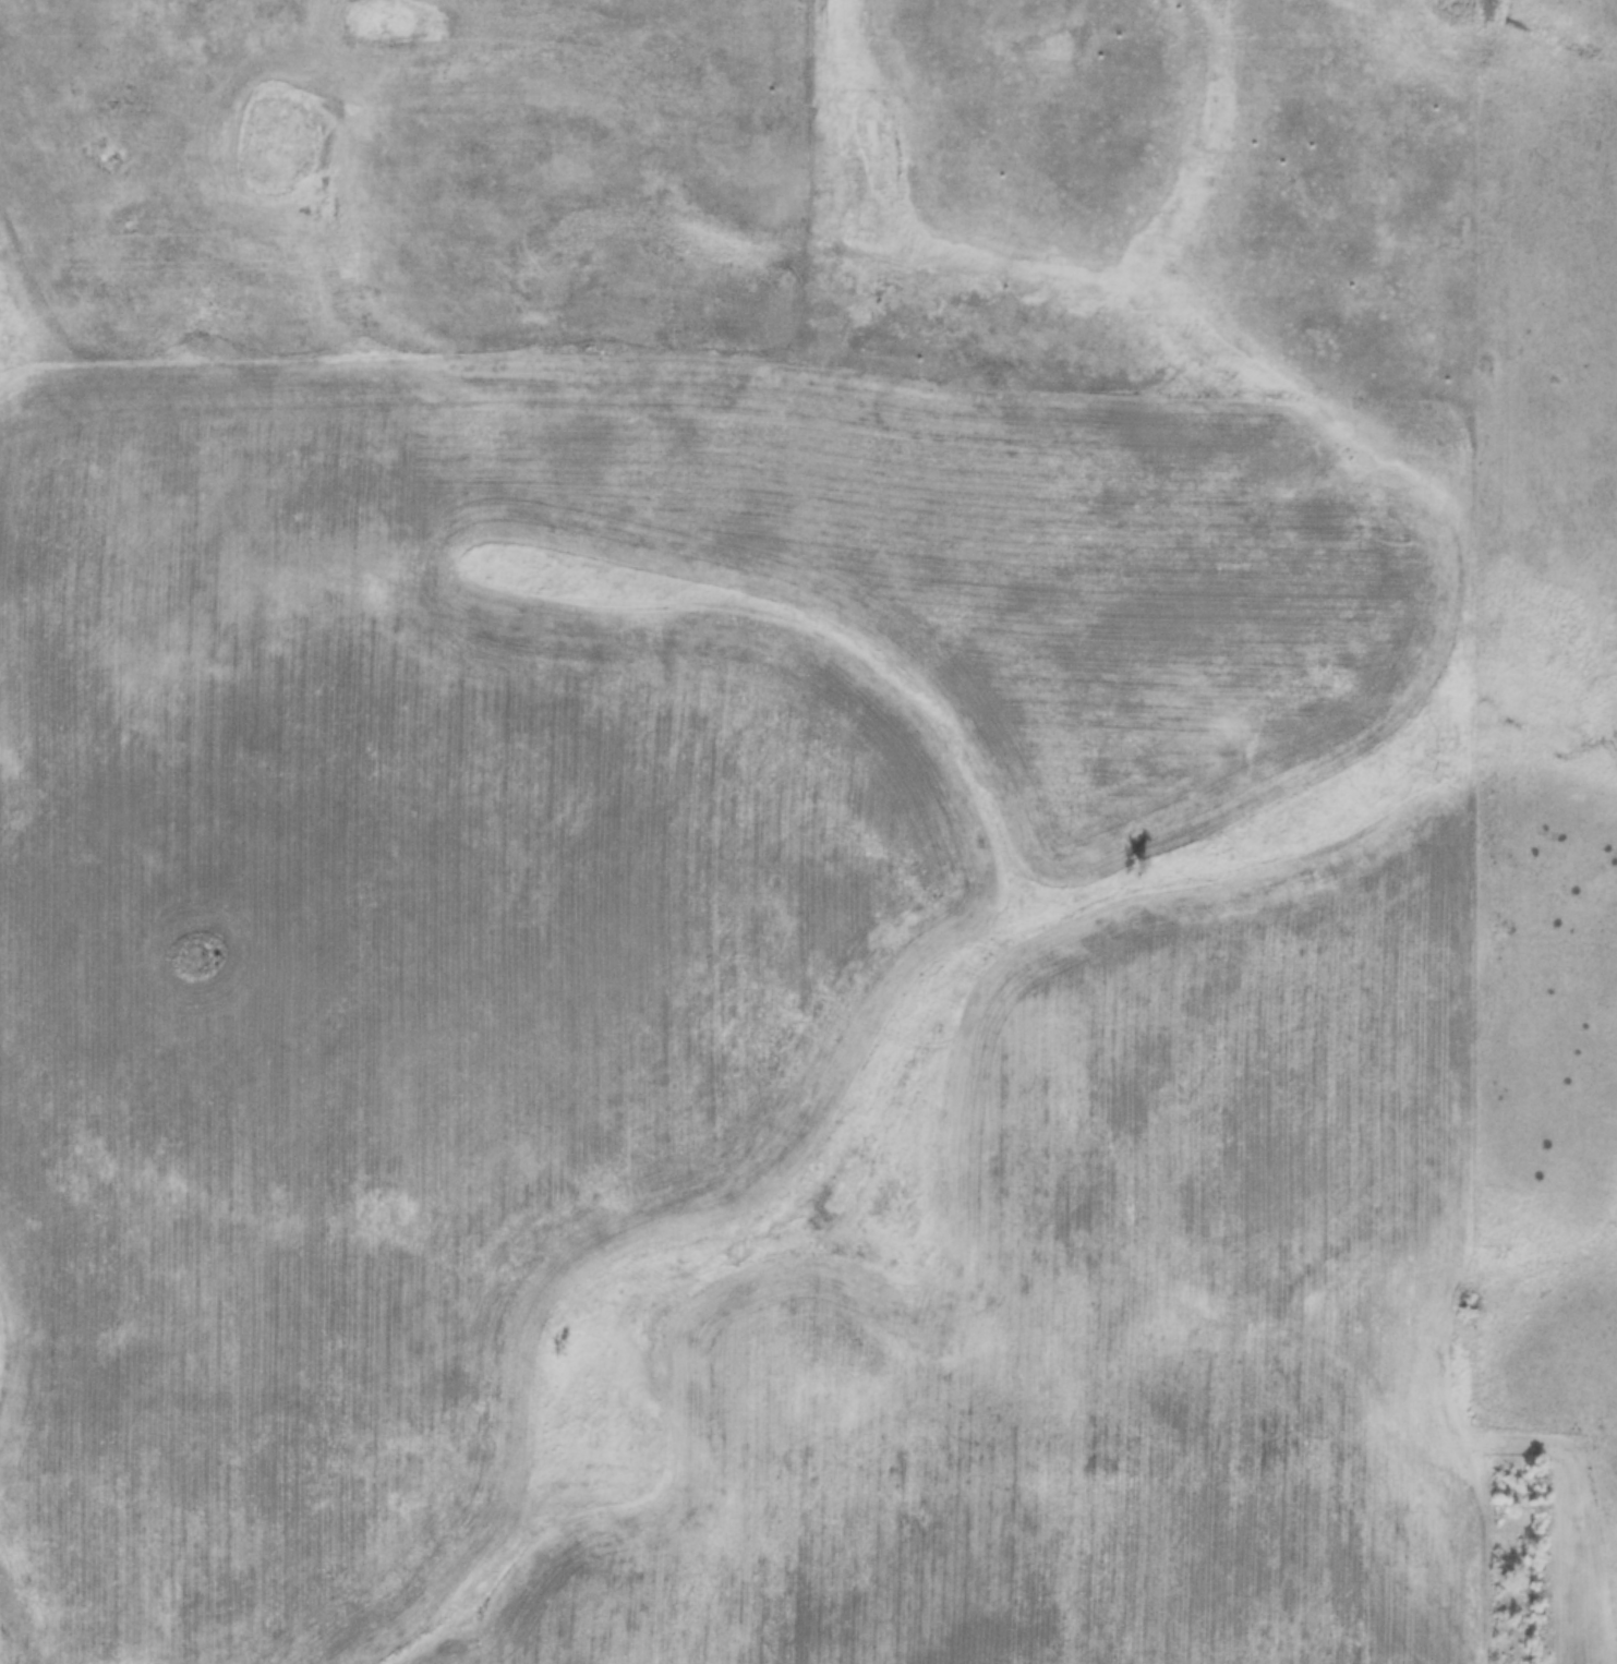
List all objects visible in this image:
road: (808, 1446)

